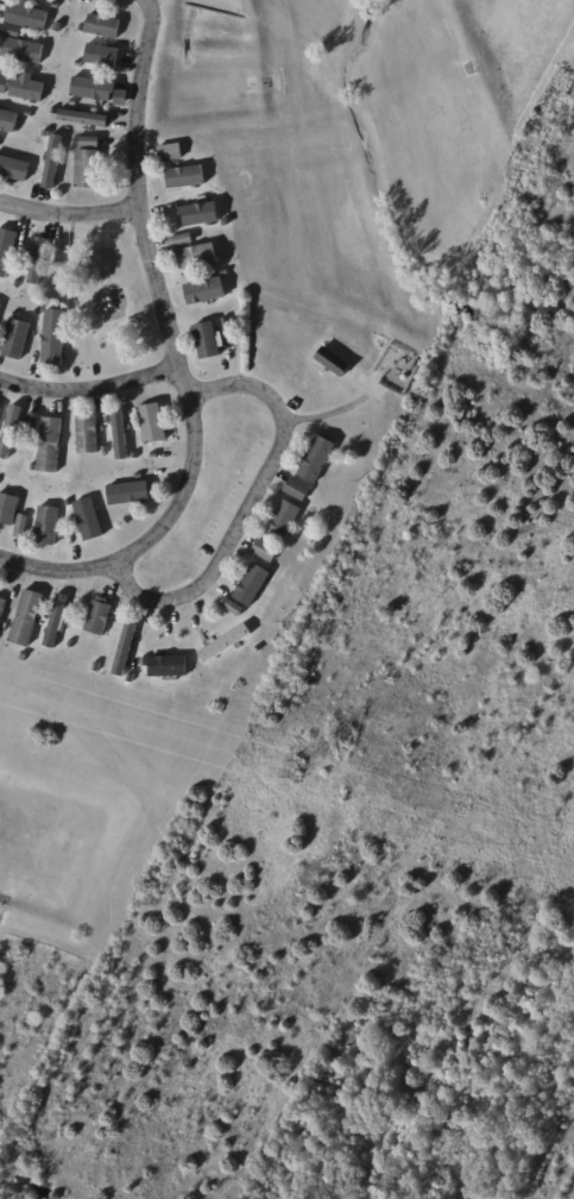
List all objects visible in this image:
building: (57, 6)
building: (29, 17)
building: (59, 27)
building: (103, 27)
building: (82, 30)
building: (12, 31)
building: (23, 51)
building: (102, 56)
building: (80, 65)
building: (5, 86)
building: (29, 90)
building: (99, 92)
building: (74, 103)
building: (55, 112)
building: (30, 113)
building: (84, 118)
building: (8, 121)
building: (0, 138)
building: (89, 144)
building: (172, 153)
building: (51, 161)
building: (14, 169)
building: (88, 171)
building: (185, 178)
road: (68, 213)
building: (201, 215)
building: (227, 224)
building: (183, 241)
building: (6, 251)
building: (63, 252)
building: (198, 257)
building: (36, 259)
building: (226, 272)
building: (17, 283)
building: (206, 293)
building: (1, 309)
building: (38, 312)
building: (228, 337)
building: (55, 338)
building: (17, 340)
building: (208, 340)
building: (78, 345)
building: (103, 349)
road: (175, 352)
building: (334, 362)
building: (411, 364)
road: (89, 388)
road: (340, 408)
building: (0, 413)
building: (153, 423)
building: (33, 426)
building: (10, 433)
building: (88, 435)
building: (120, 437)
building: (50, 446)
building: (105, 450)
building: (154, 454)
building: (134, 456)
building: (318, 459)
building: (32, 467)
building: (139, 476)
building: (0, 481)
building: (298, 489)
building: (128, 494)
parking lot: (233, 500)
road: (250, 500)
building: (76, 503)
building: (8, 510)
building: (90, 520)
building: (284, 521)
building: (49, 527)
building: (21, 528)
building: (267, 550)
building: (252, 584)
building: (82, 598)
building: (234, 607)
building: (2, 608)
building: (27, 617)
building: (99, 619)
building: (58, 621)
building: (226, 642)
building: (71, 644)
building: (17, 648)
building: (125, 649)
building: (259, 649)
building: (146, 661)
building: (97, 666)
building: (169, 666)
building: (131, 677)
power tower: (298, 770)

